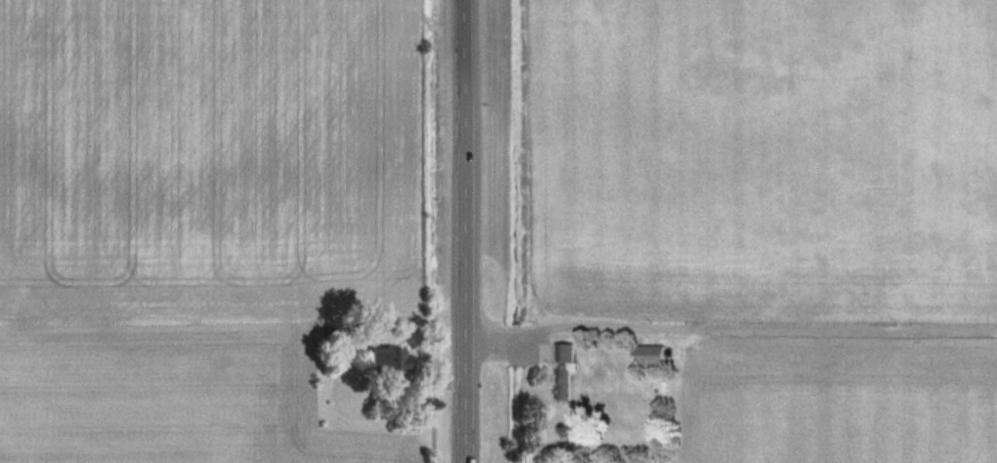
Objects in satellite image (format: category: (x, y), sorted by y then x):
road: (466, 231)
road: (757, 325)
road: (494, 341)
building: (653, 354)
building: (386, 361)
building: (566, 372)

